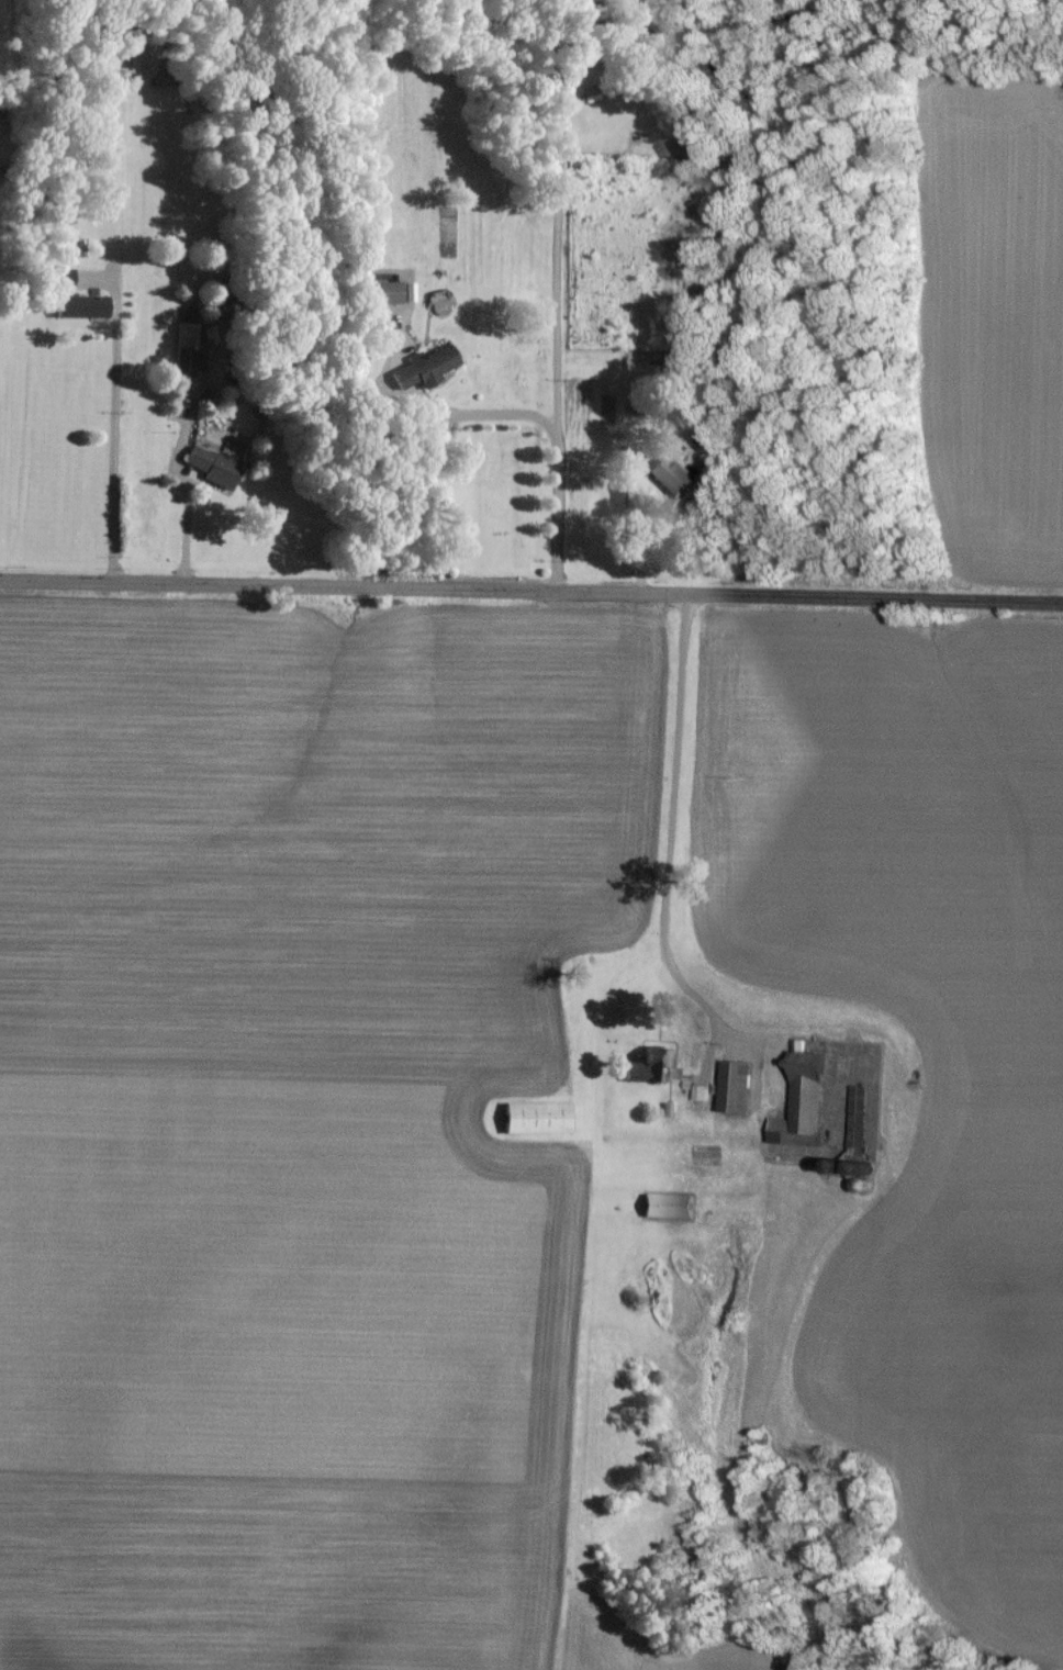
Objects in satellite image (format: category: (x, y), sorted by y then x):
building: (58, 276)
building: (75, 304)
building: (421, 366)
road: (110, 435)
road: (557, 436)
building: (208, 464)
building: (667, 475)
road: (187, 524)
road: (652, 533)
road: (530, 593)
road: (672, 832)
building: (645, 1062)
building: (731, 1084)
building: (797, 1099)
building: (530, 1114)
building: (662, 1202)

